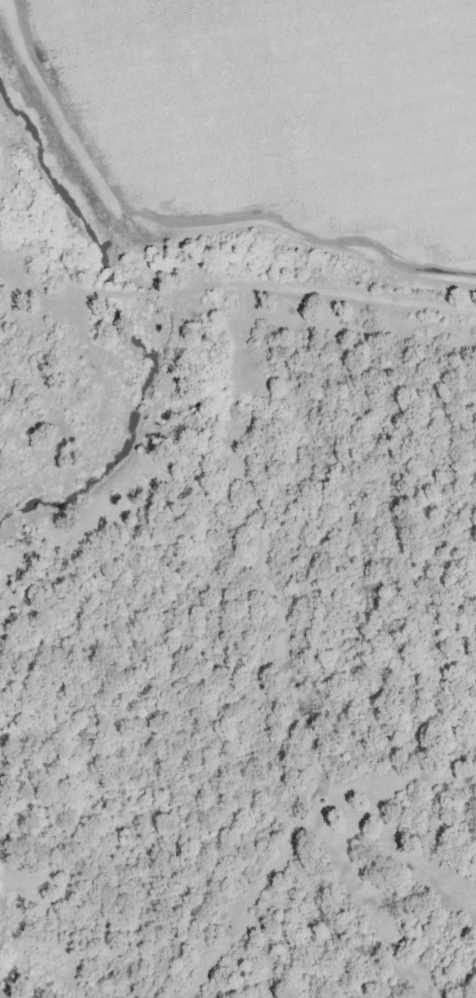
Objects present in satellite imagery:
road: (232, 288)

